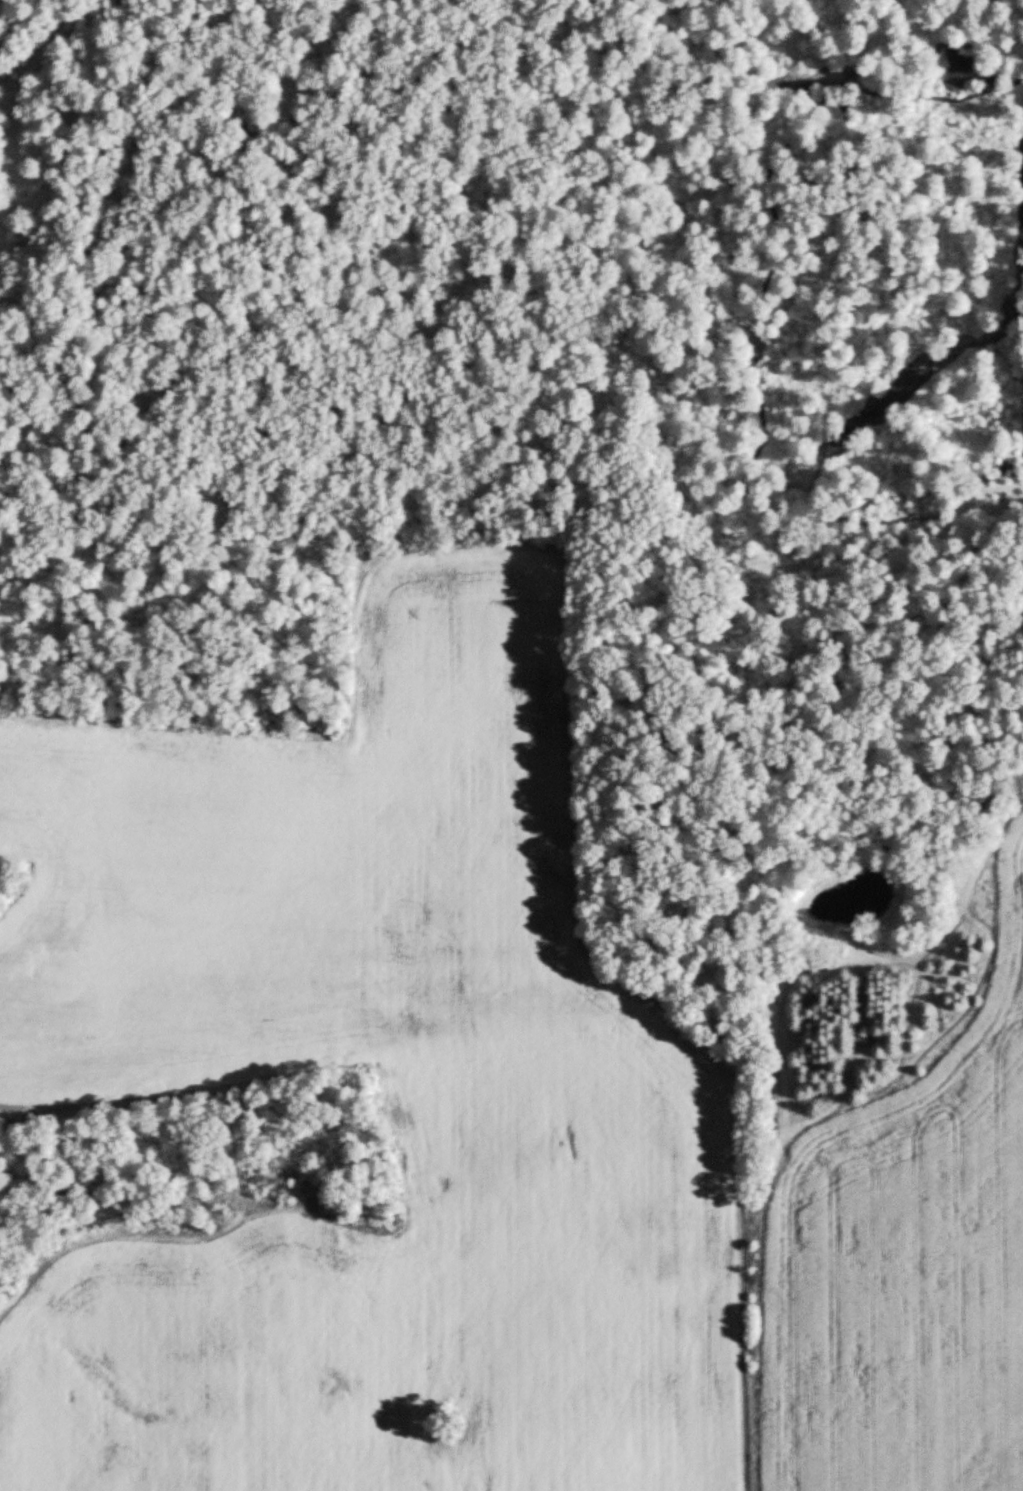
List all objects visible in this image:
building: (868, 1040)

